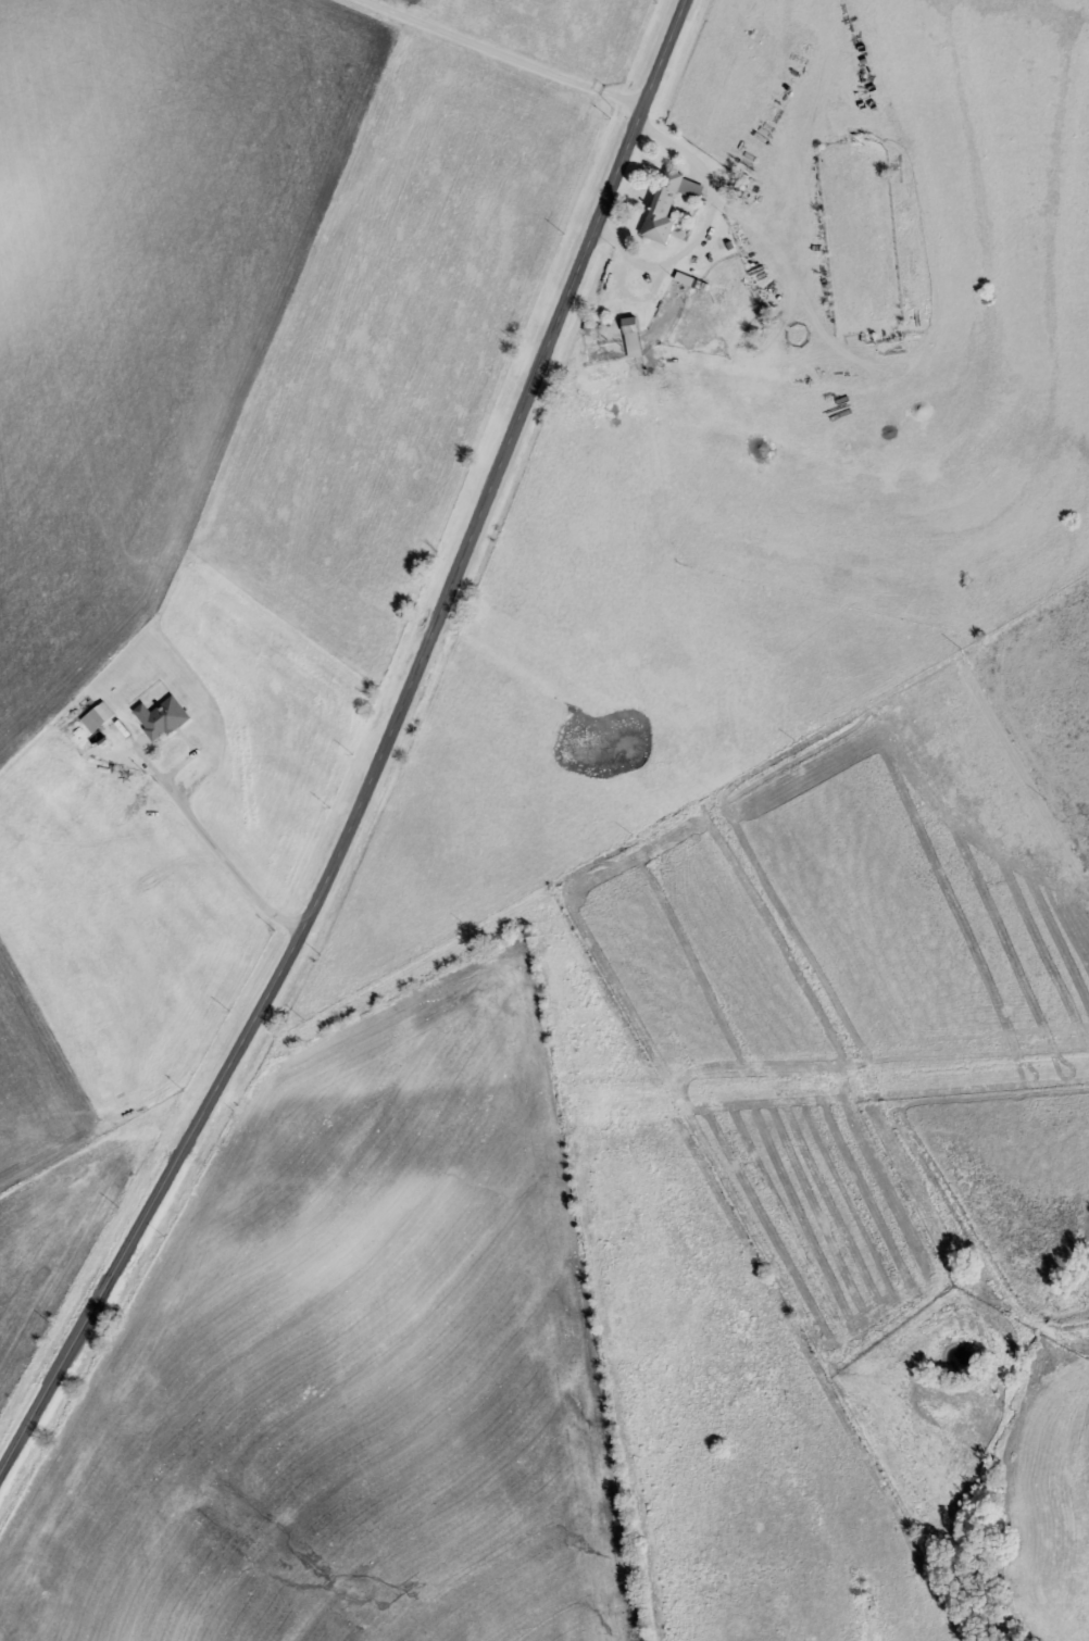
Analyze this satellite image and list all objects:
road: (499, 55)
building: (662, 202)
road: (674, 250)
building: (626, 336)
building: (170, 716)
building: (105, 719)
road: (378, 749)
road: (217, 845)

